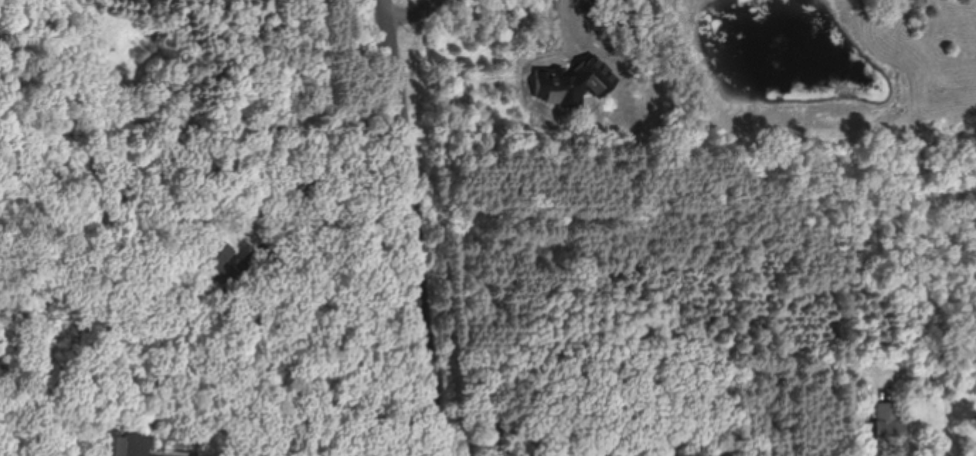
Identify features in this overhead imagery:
road: (413, 13)
road: (568, 25)
road: (309, 181)
road: (411, 227)
building: (217, 257)
building: (892, 423)

